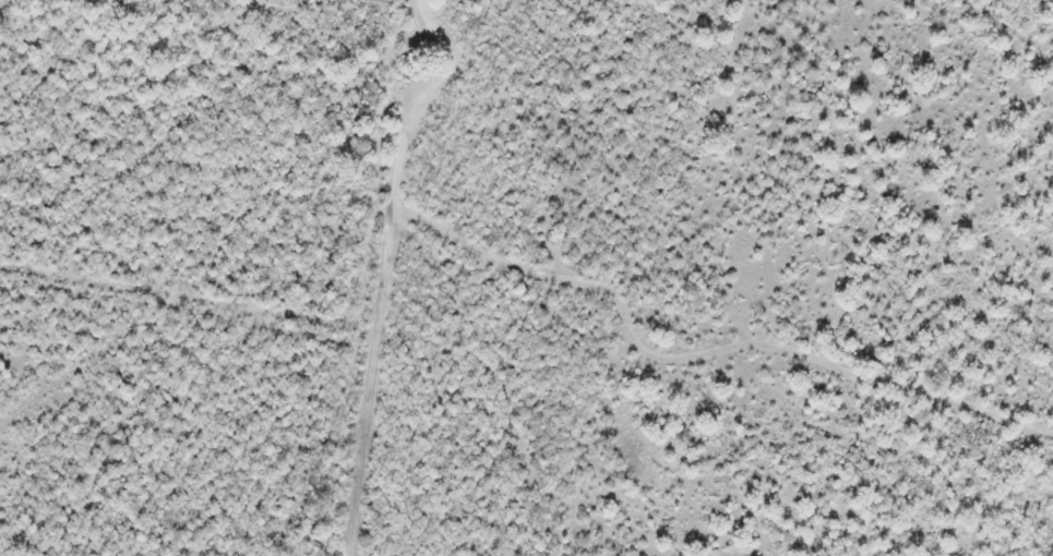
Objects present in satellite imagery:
road: (391, 264)

